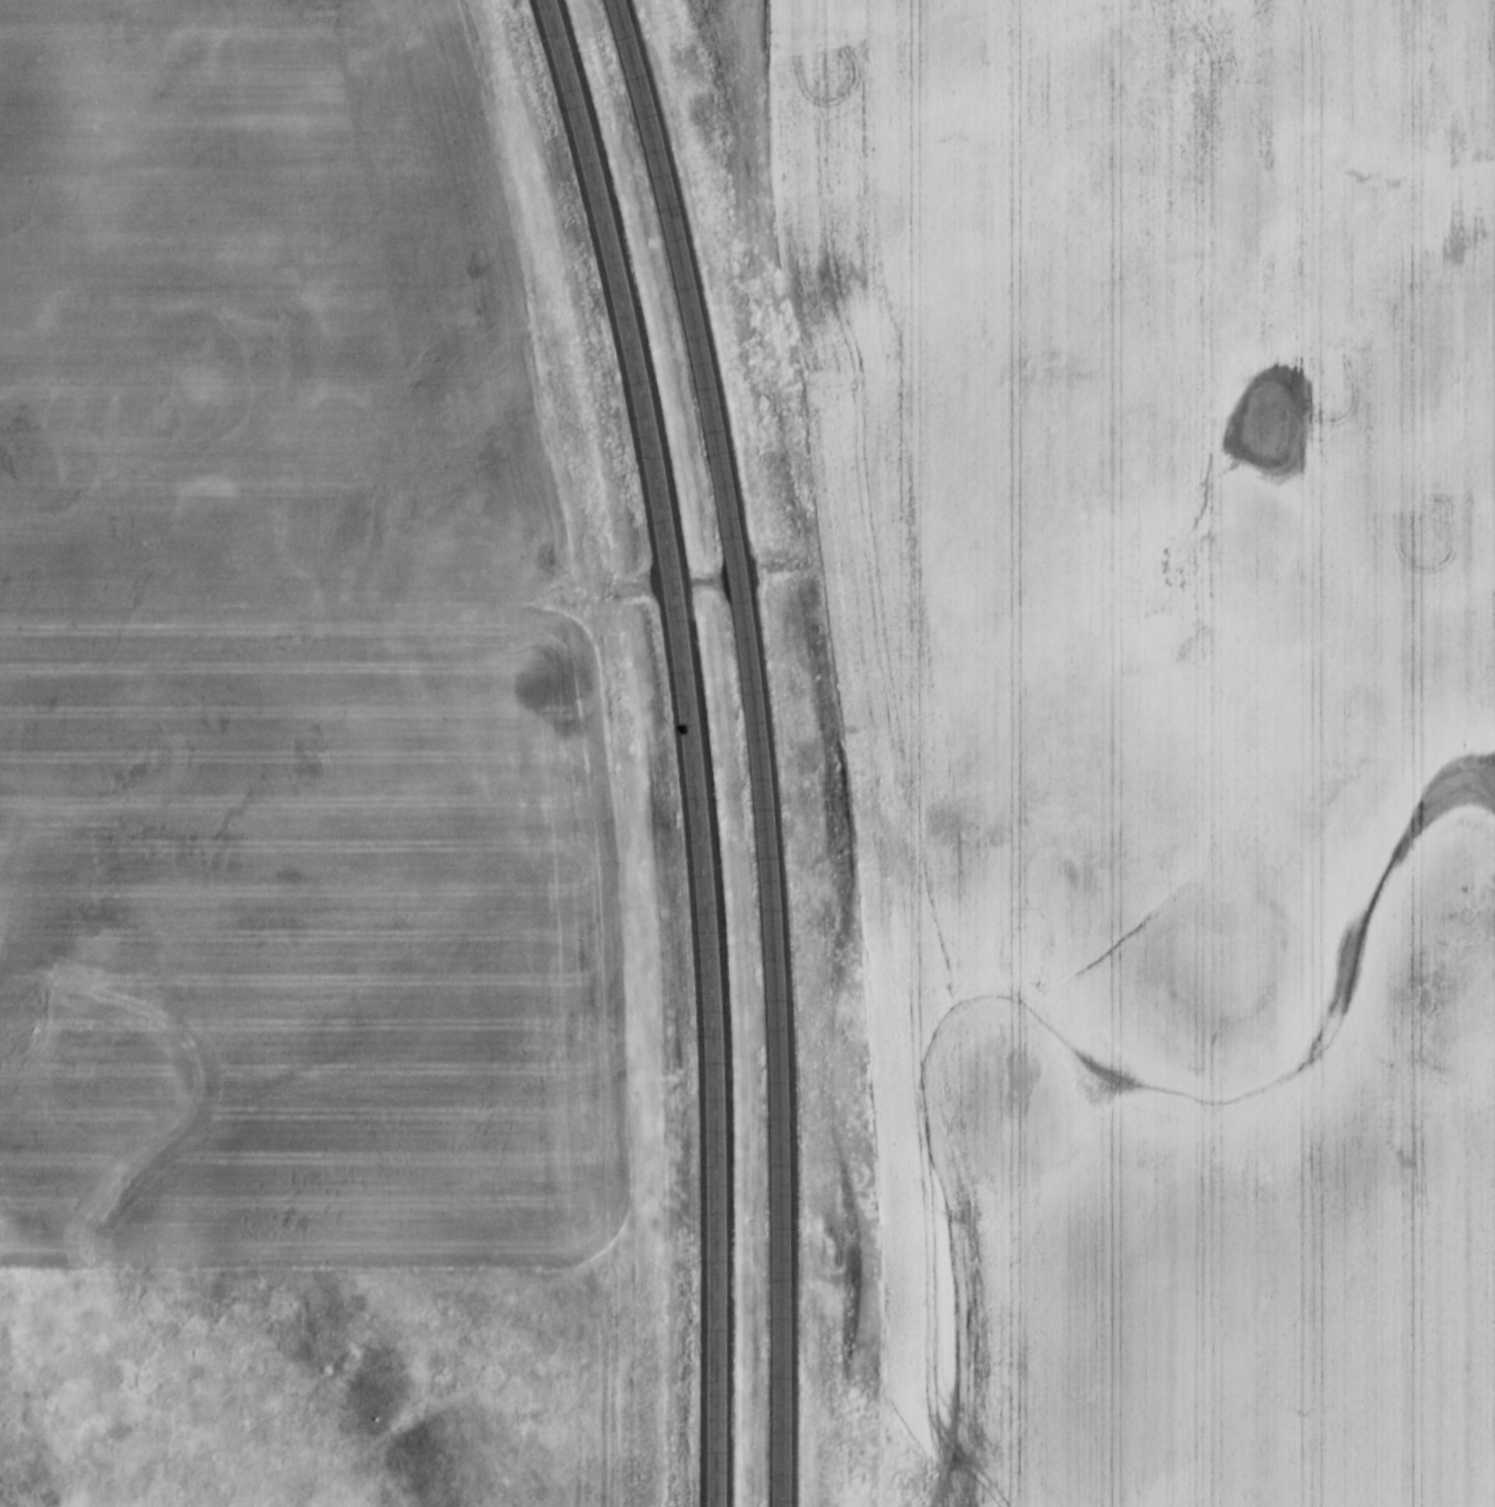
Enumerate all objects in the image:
road: (690, 746)
road: (756, 746)

